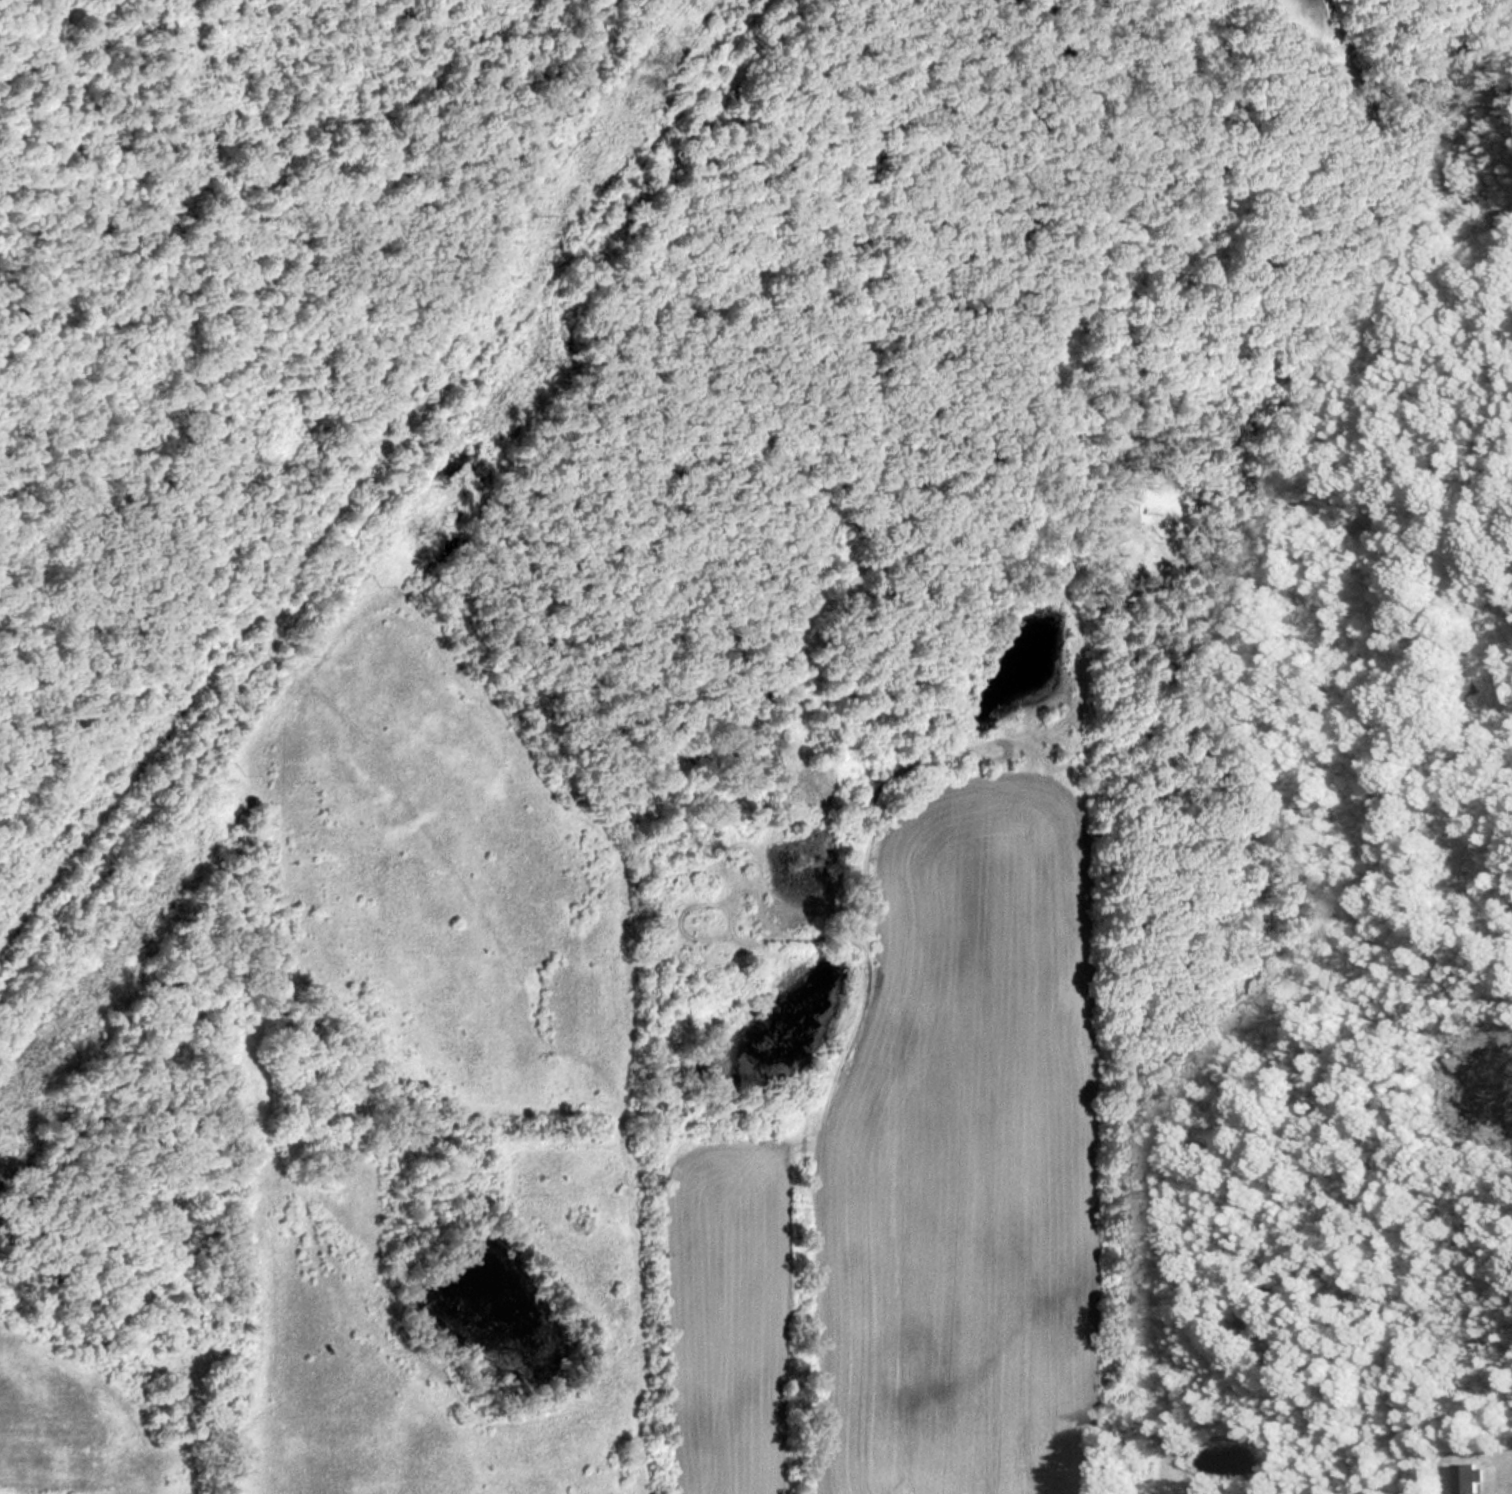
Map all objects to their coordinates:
building: (1463, 1476)

